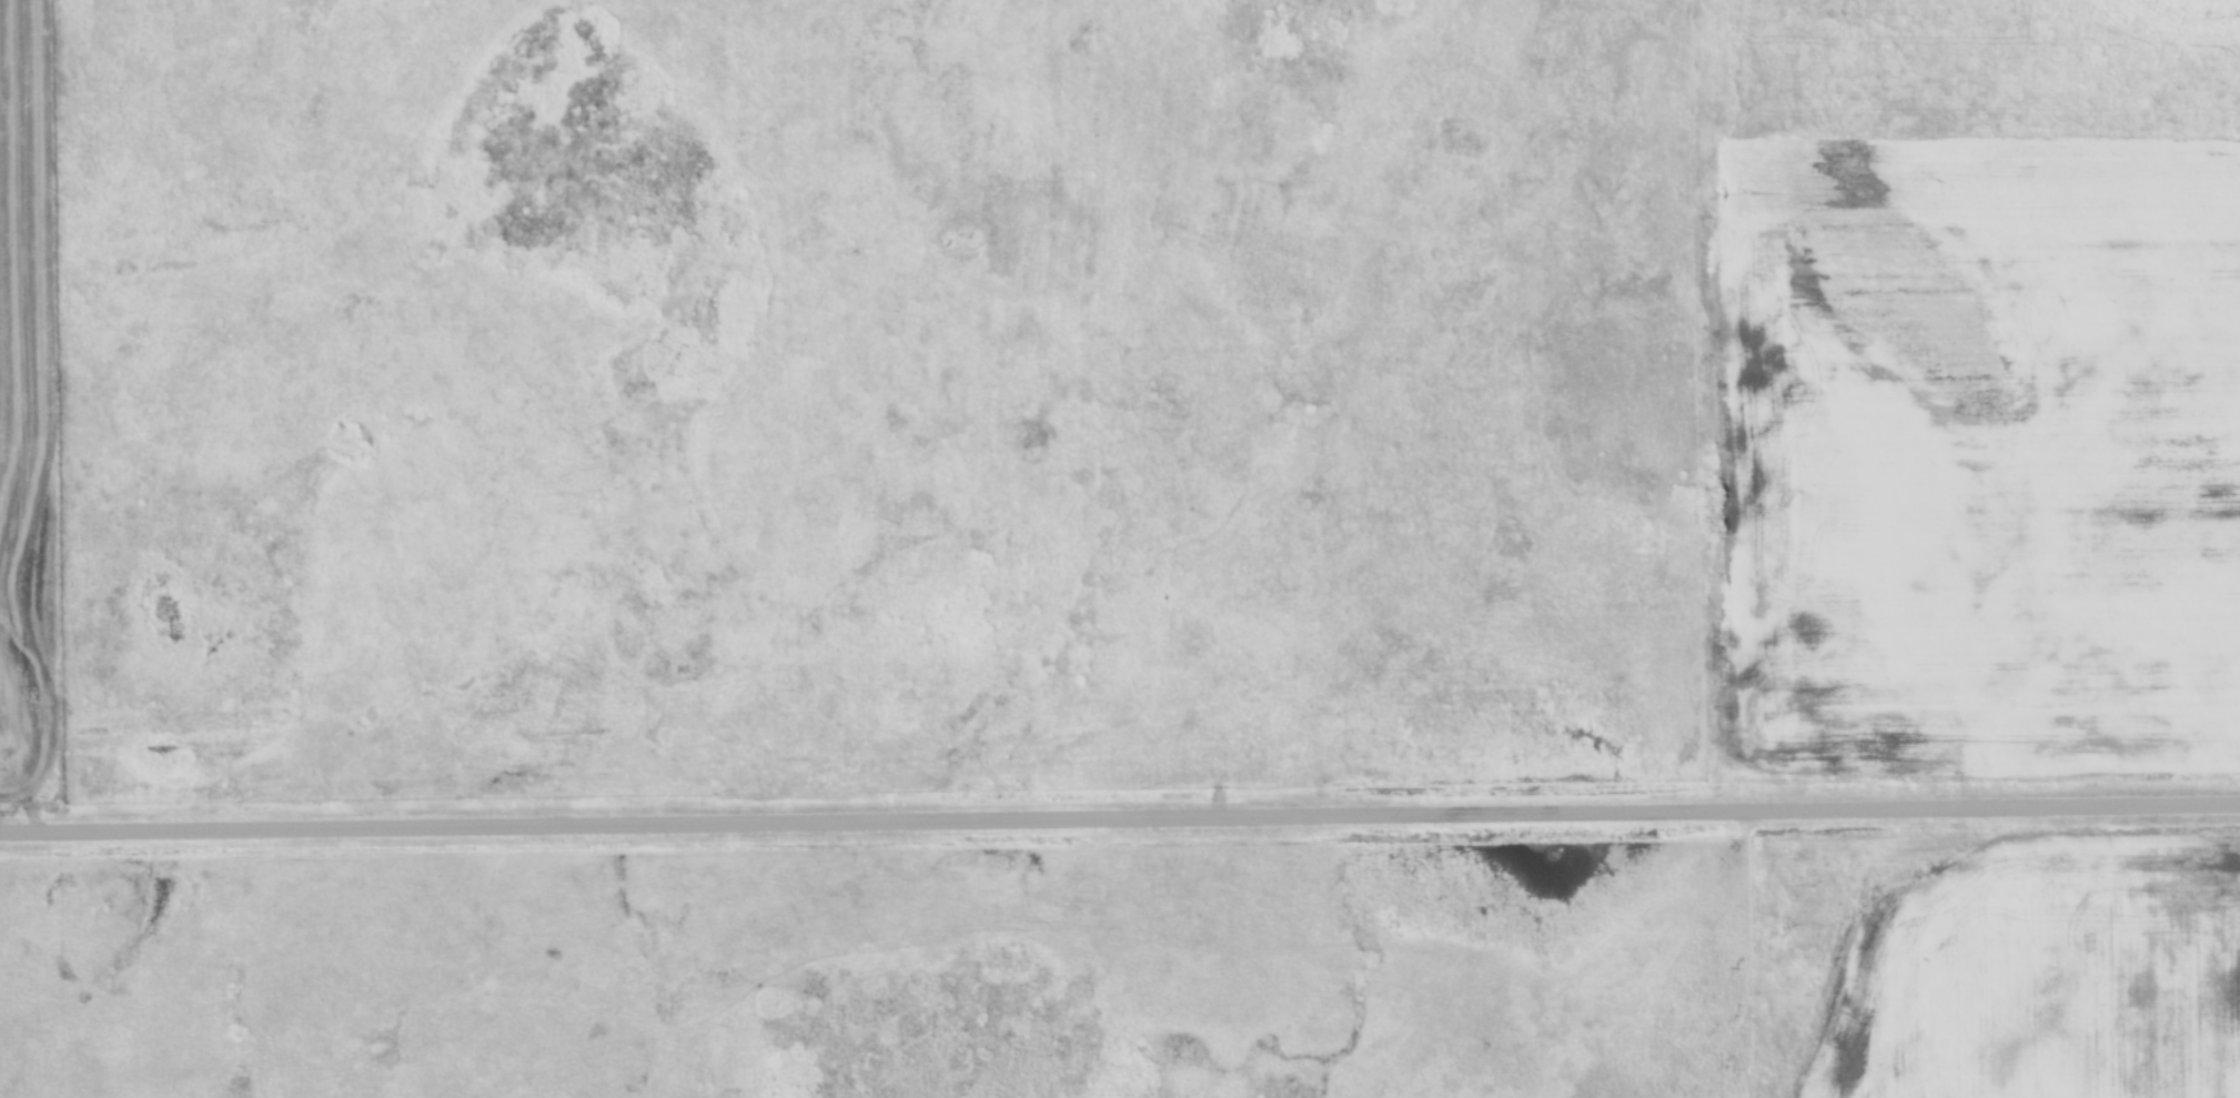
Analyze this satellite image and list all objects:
road: (1120, 819)

